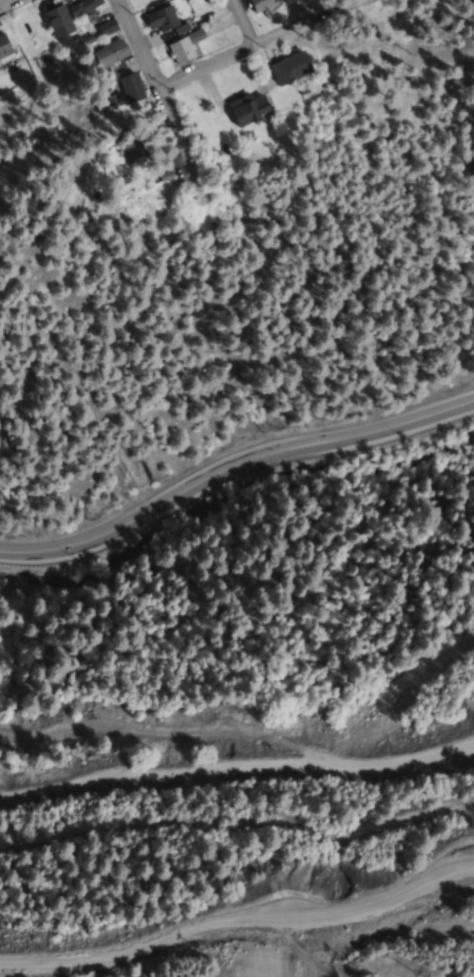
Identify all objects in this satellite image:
building: (288, 1)
road: (5, 2)
building: (260, 4)
building: (80, 5)
building: (57, 19)
building: (160, 19)
road: (240, 23)
building: (107, 28)
building: (3, 46)
building: (182, 47)
building: (109, 53)
road: (221, 60)
building: (290, 67)
road: (150, 75)
building: (131, 87)
building: (247, 107)
building: (133, 145)
road: (231, 465)
road: (237, 770)
road: (238, 920)

